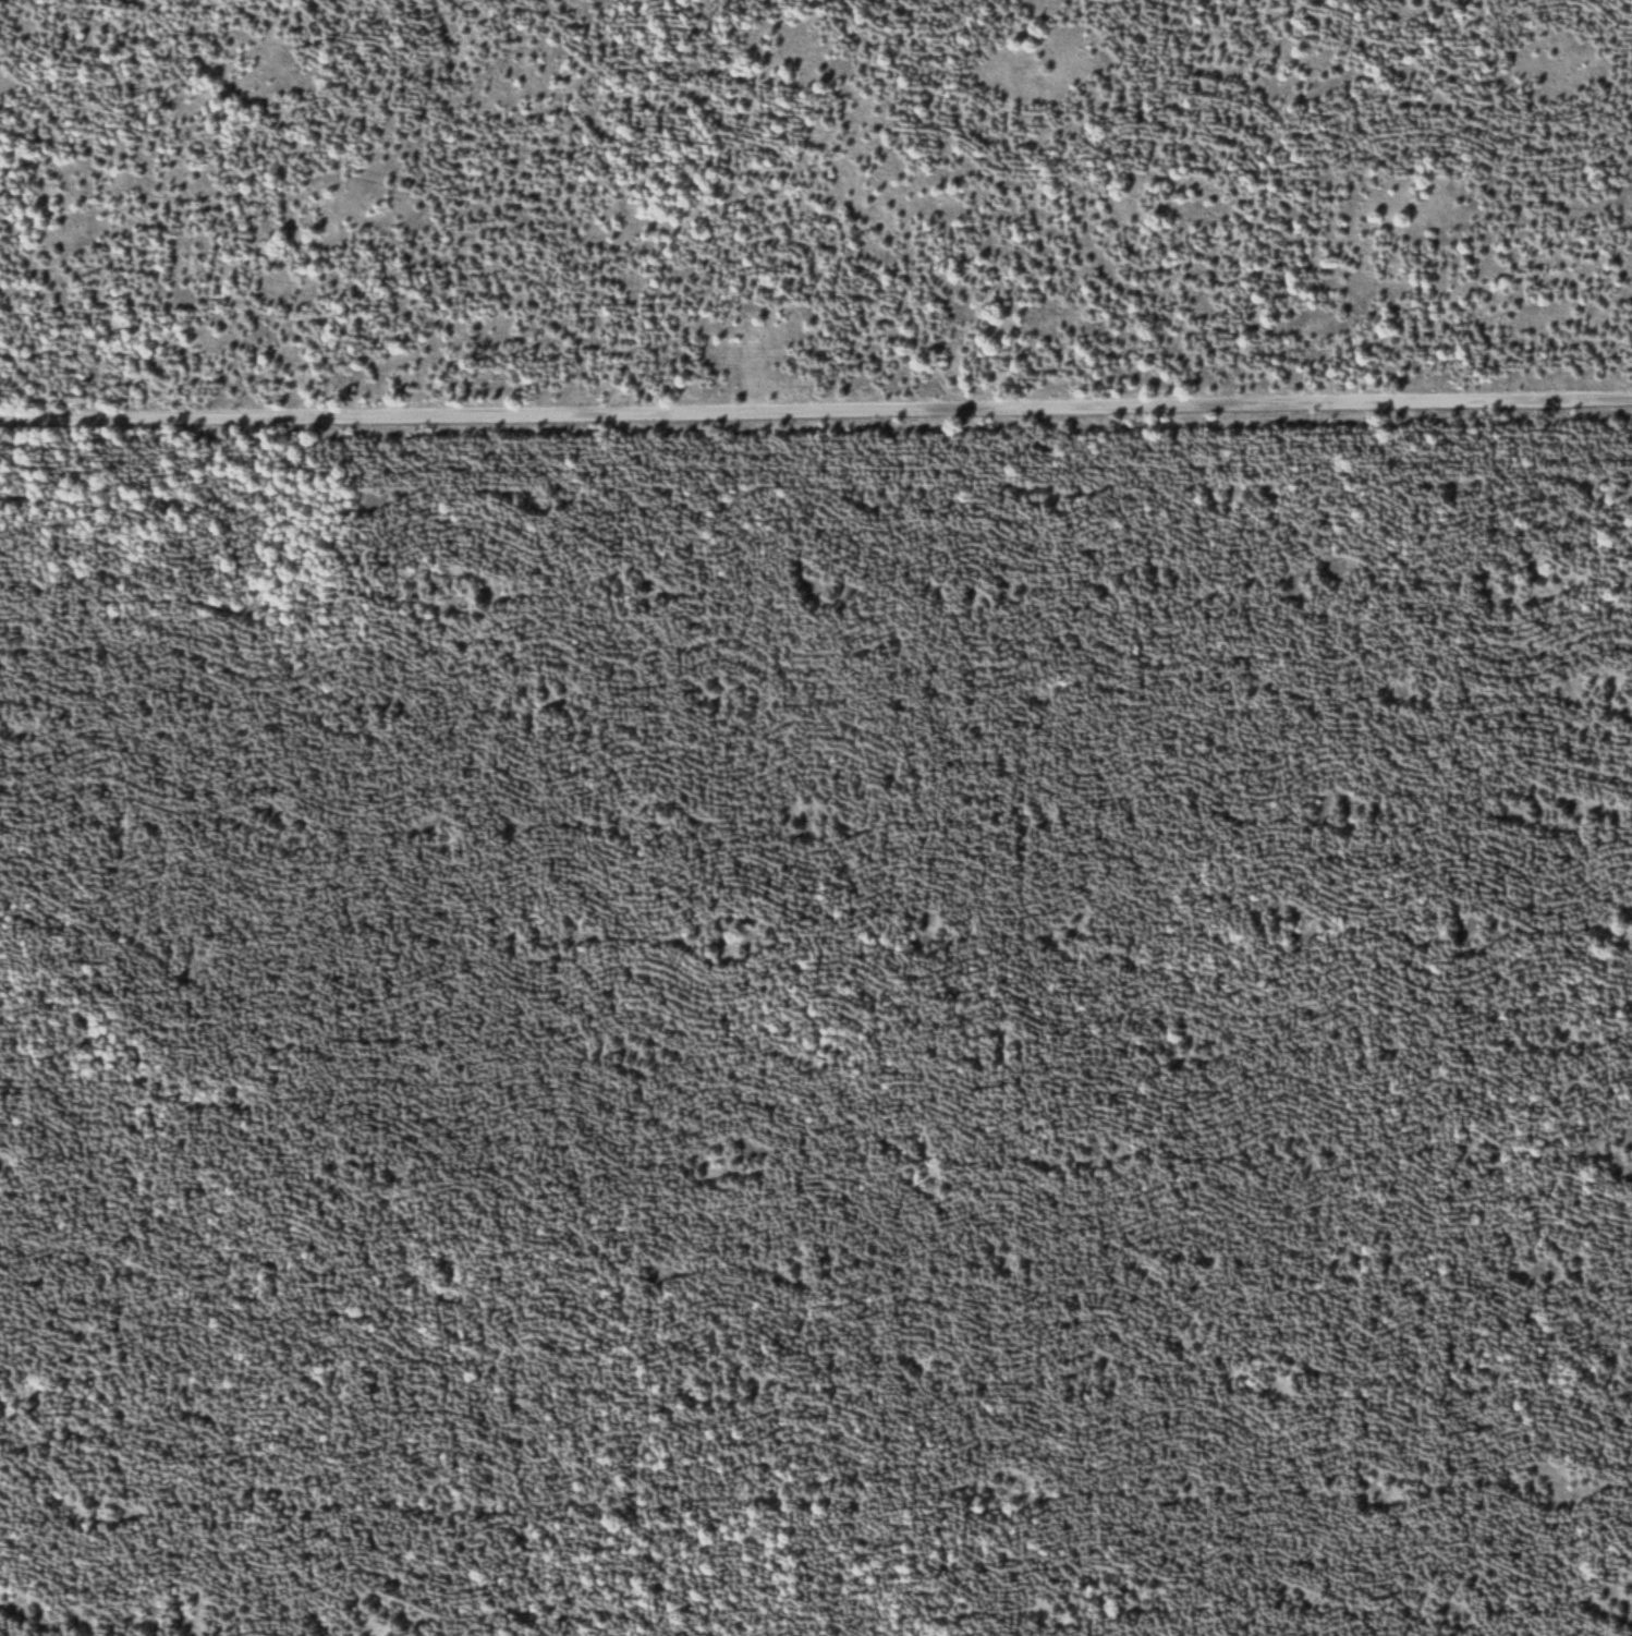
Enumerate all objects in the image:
road: (816, 407)

